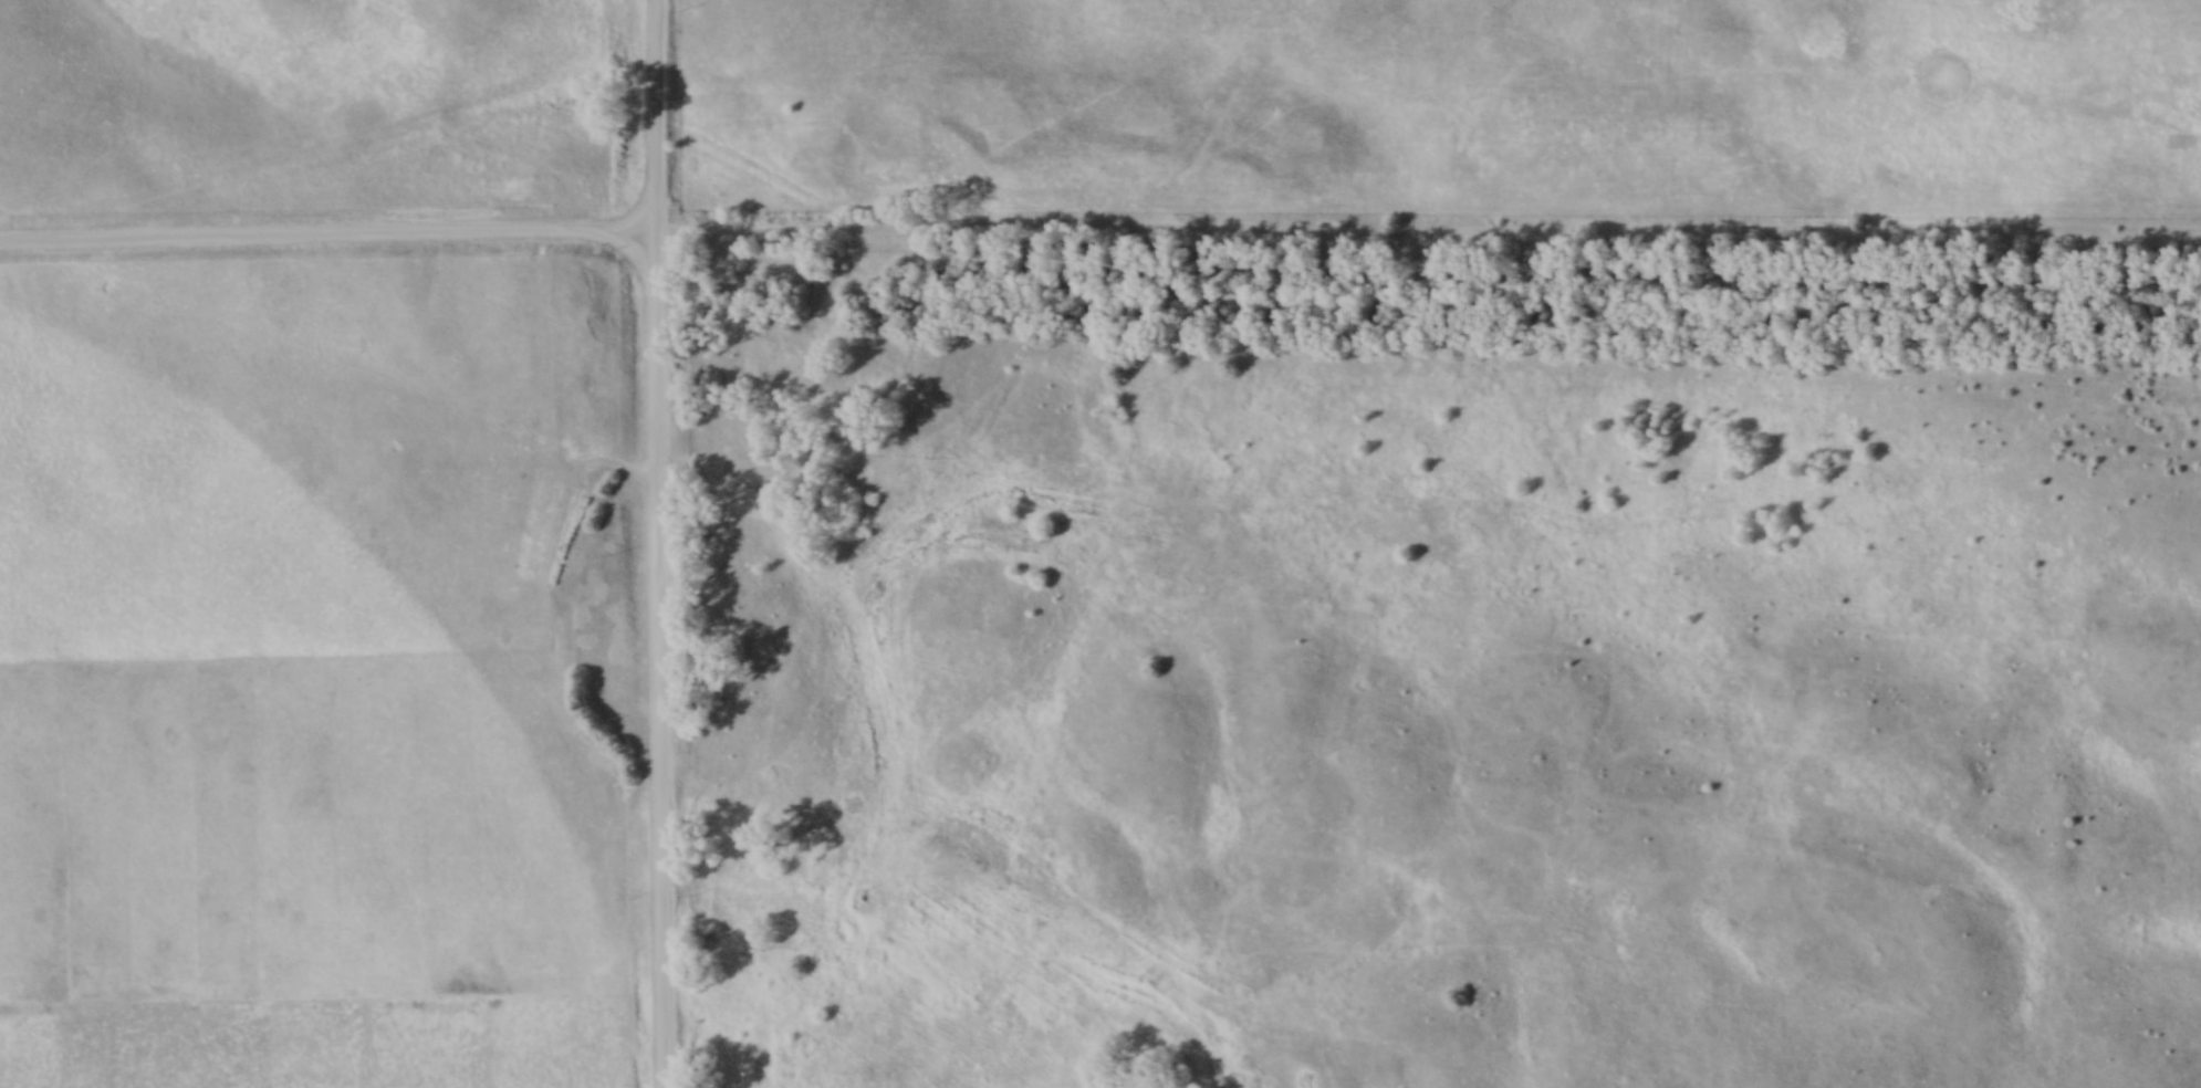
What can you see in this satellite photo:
road: (655, 118)
road: (326, 241)
road: (655, 662)

